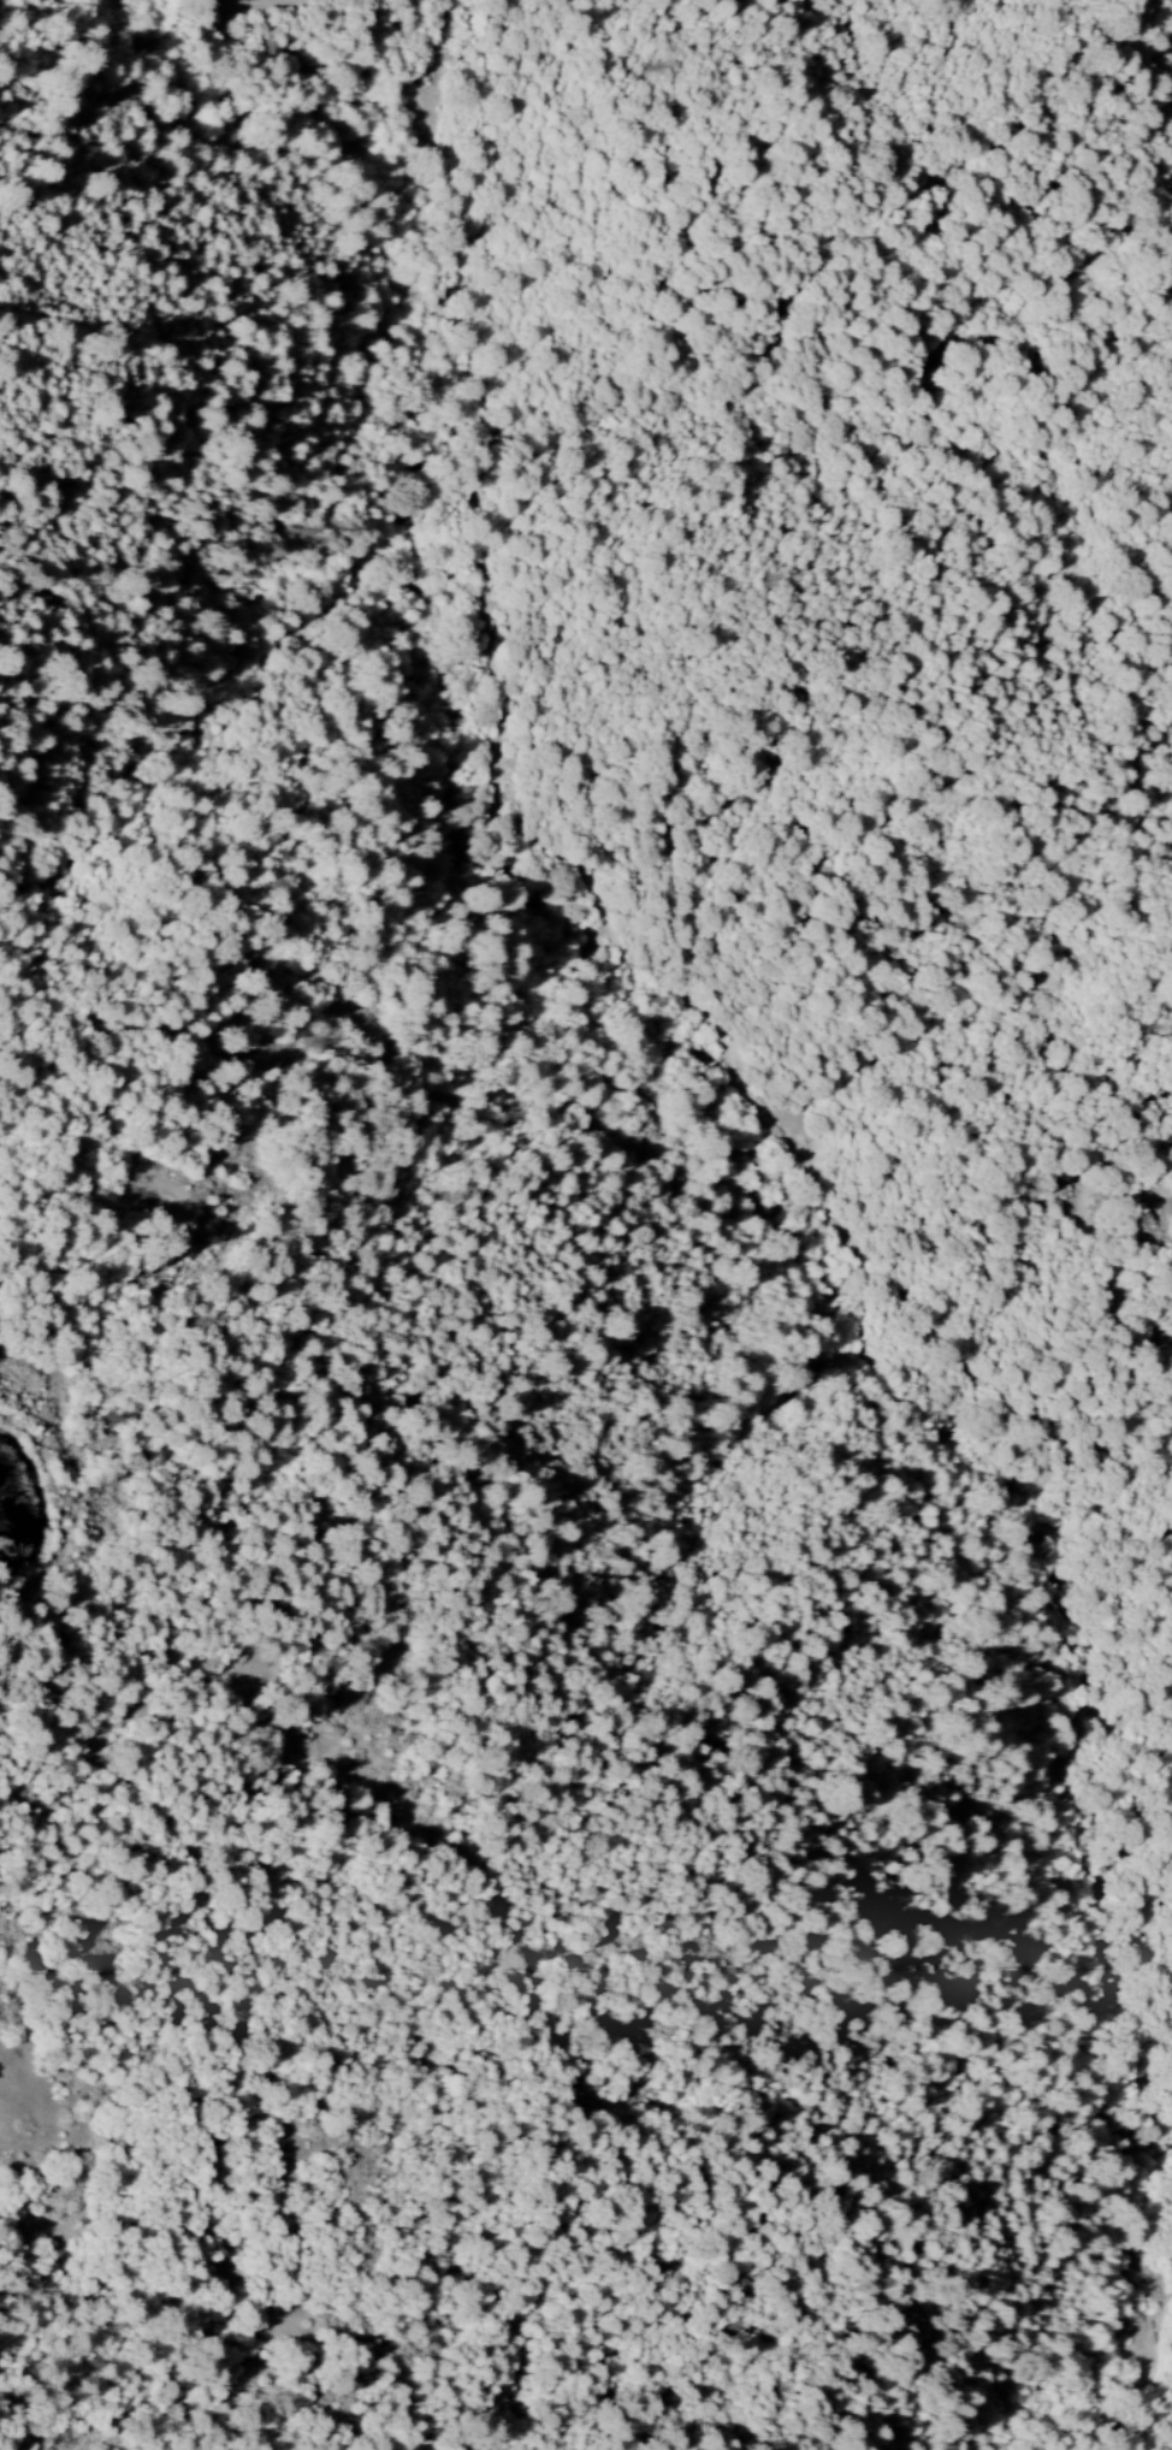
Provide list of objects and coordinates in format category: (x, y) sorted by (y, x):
road: (622, 874)

